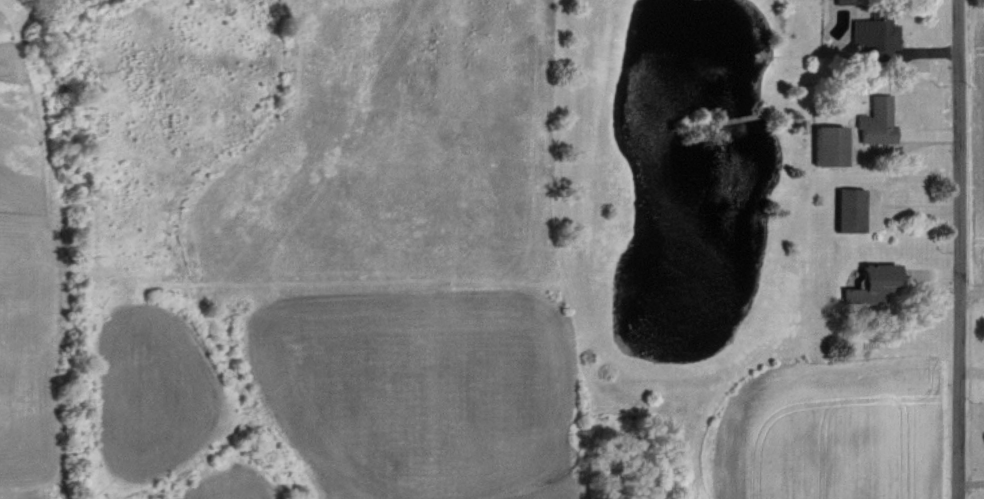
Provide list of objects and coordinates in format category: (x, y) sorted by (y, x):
building: (843, 0)
building: (875, 35)
building: (878, 119)
building: (832, 144)
building: (852, 208)
road: (953, 249)
building: (873, 282)
road: (969, 288)

